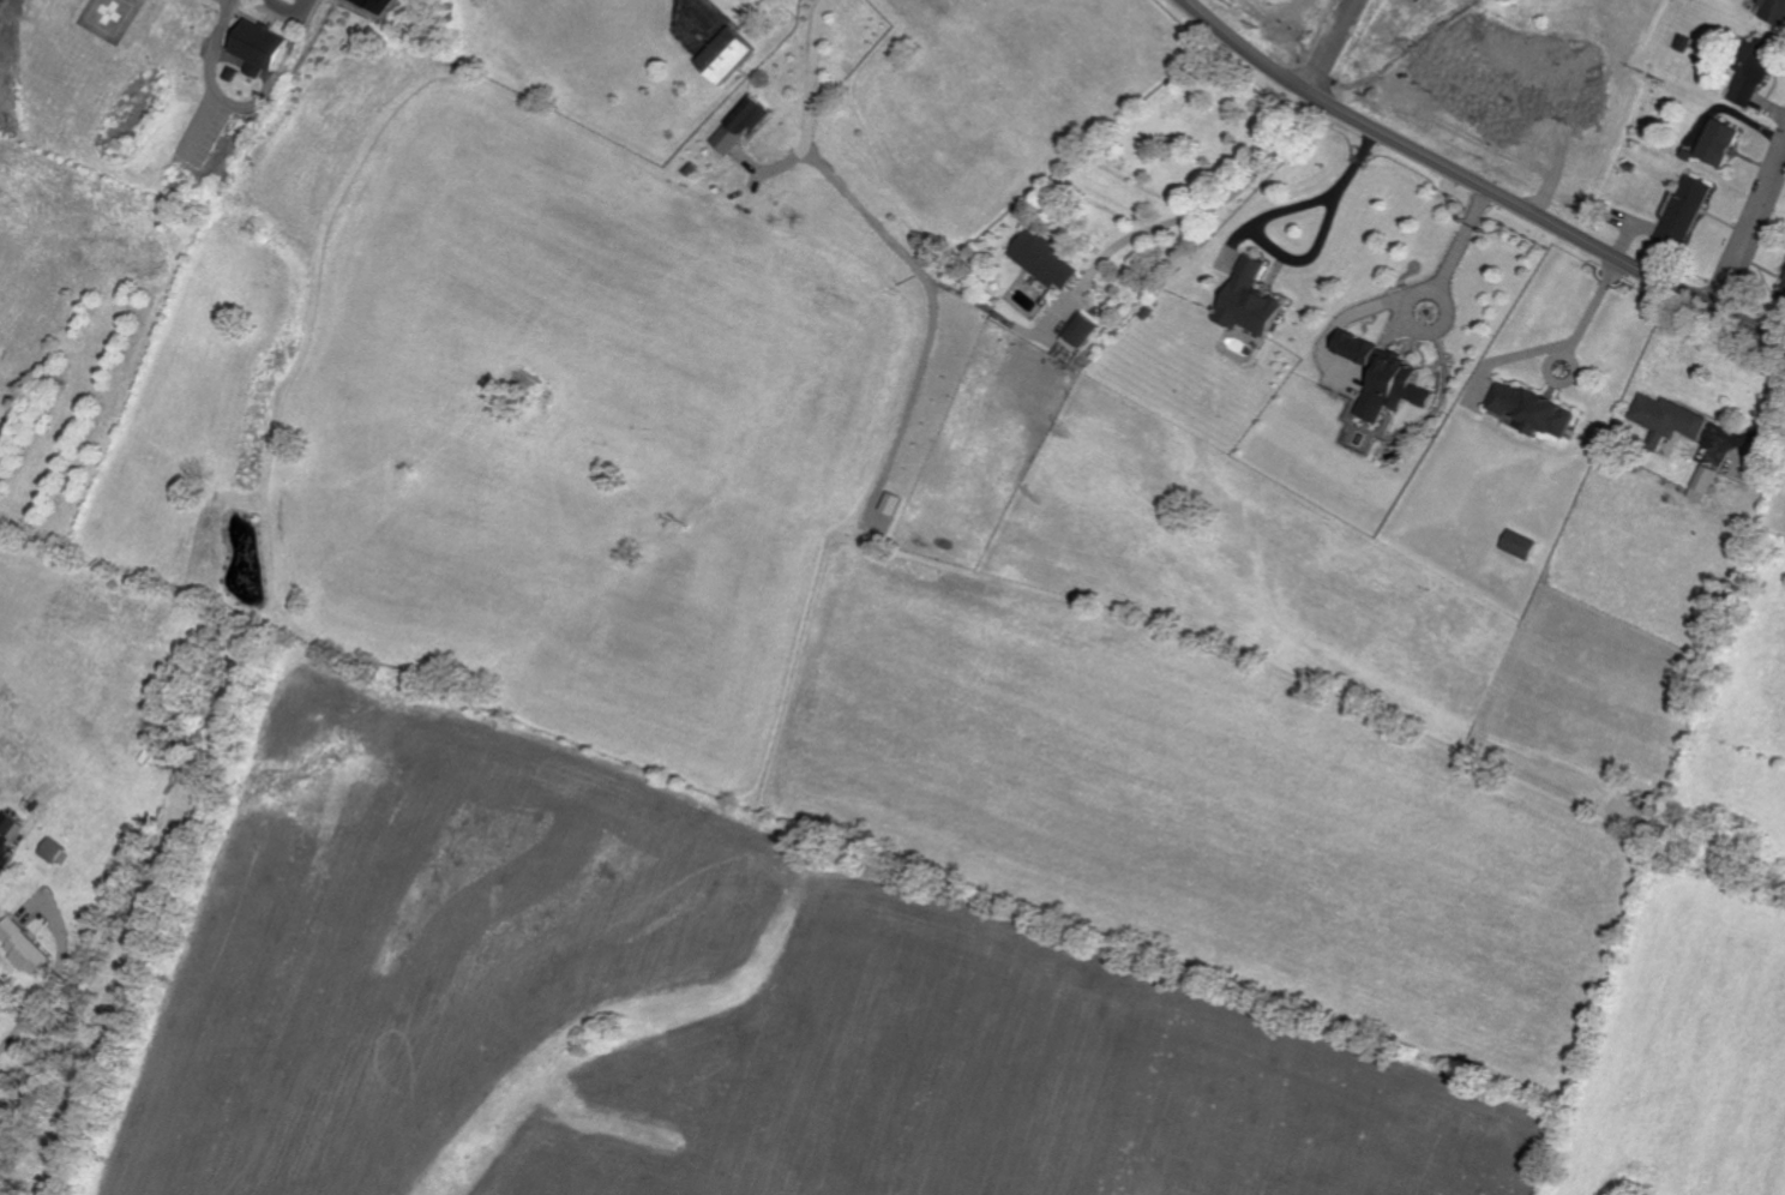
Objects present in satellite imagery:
road: (296, 7)
road: (696, 10)
helipad: (113, 11)
building: (1773, 11)
building: (264, 41)
road: (216, 46)
road: (1333, 46)
building: (725, 56)
building: (1750, 72)
road: (275, 82)
road: (809, 100)
road: (203, 125)
building: (740, 125)
building: (1718, 143)
road: (1476, 184)
road: (1264, 209)
road: (1192, 210)
building: (1684, 211)
road: (1750, 228)
road: (1458, 238)
building: (1041, 260)
building: (1784, 288)
road: (932, 294)
road: (1406, 299)
building: (1246, 300)
road: (1591, 306)
park: (73, 323)
building: (1077, 332)
road: (1549, 359)
building: (1382, 378)
building: (1532, 410)
building: (1666, 418)
road: (1759, 425)
building: (1706, 478)
building: (889, 504)
building: (1517, 542)
building: (10, 824)
building: (52, 849)
building: (22, 945)
road: (53, 979)

